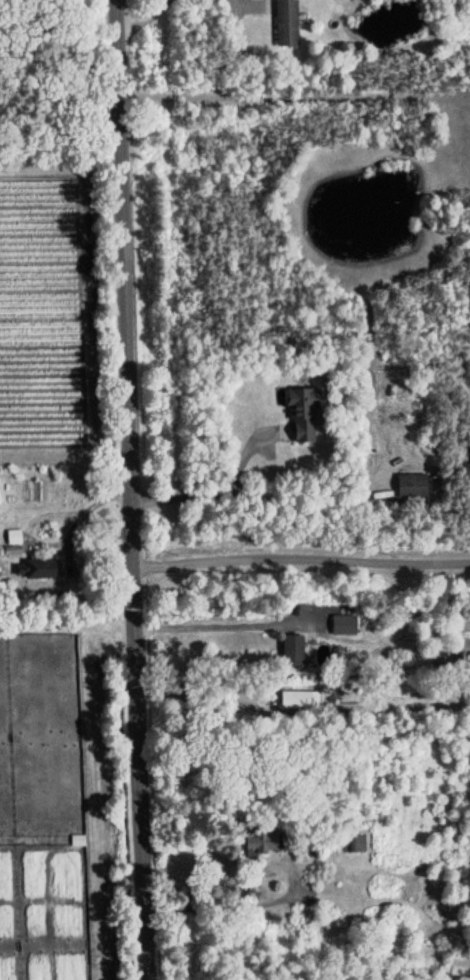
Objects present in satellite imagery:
road: (249, 1)
road: (143, 18)
building: (285, 22)
road: (293, 93)
building: (302, 412)
building: (411, 485)
road: (128, 490)
road: (201, 494)
road: (300, 557)
building: (35, 568)
building: (343, 624)
road: (193, 626)
building: (291, 649)
building: (300, 699)
building: (257, 839)
building: (357, 843)
road: (229, 906)

